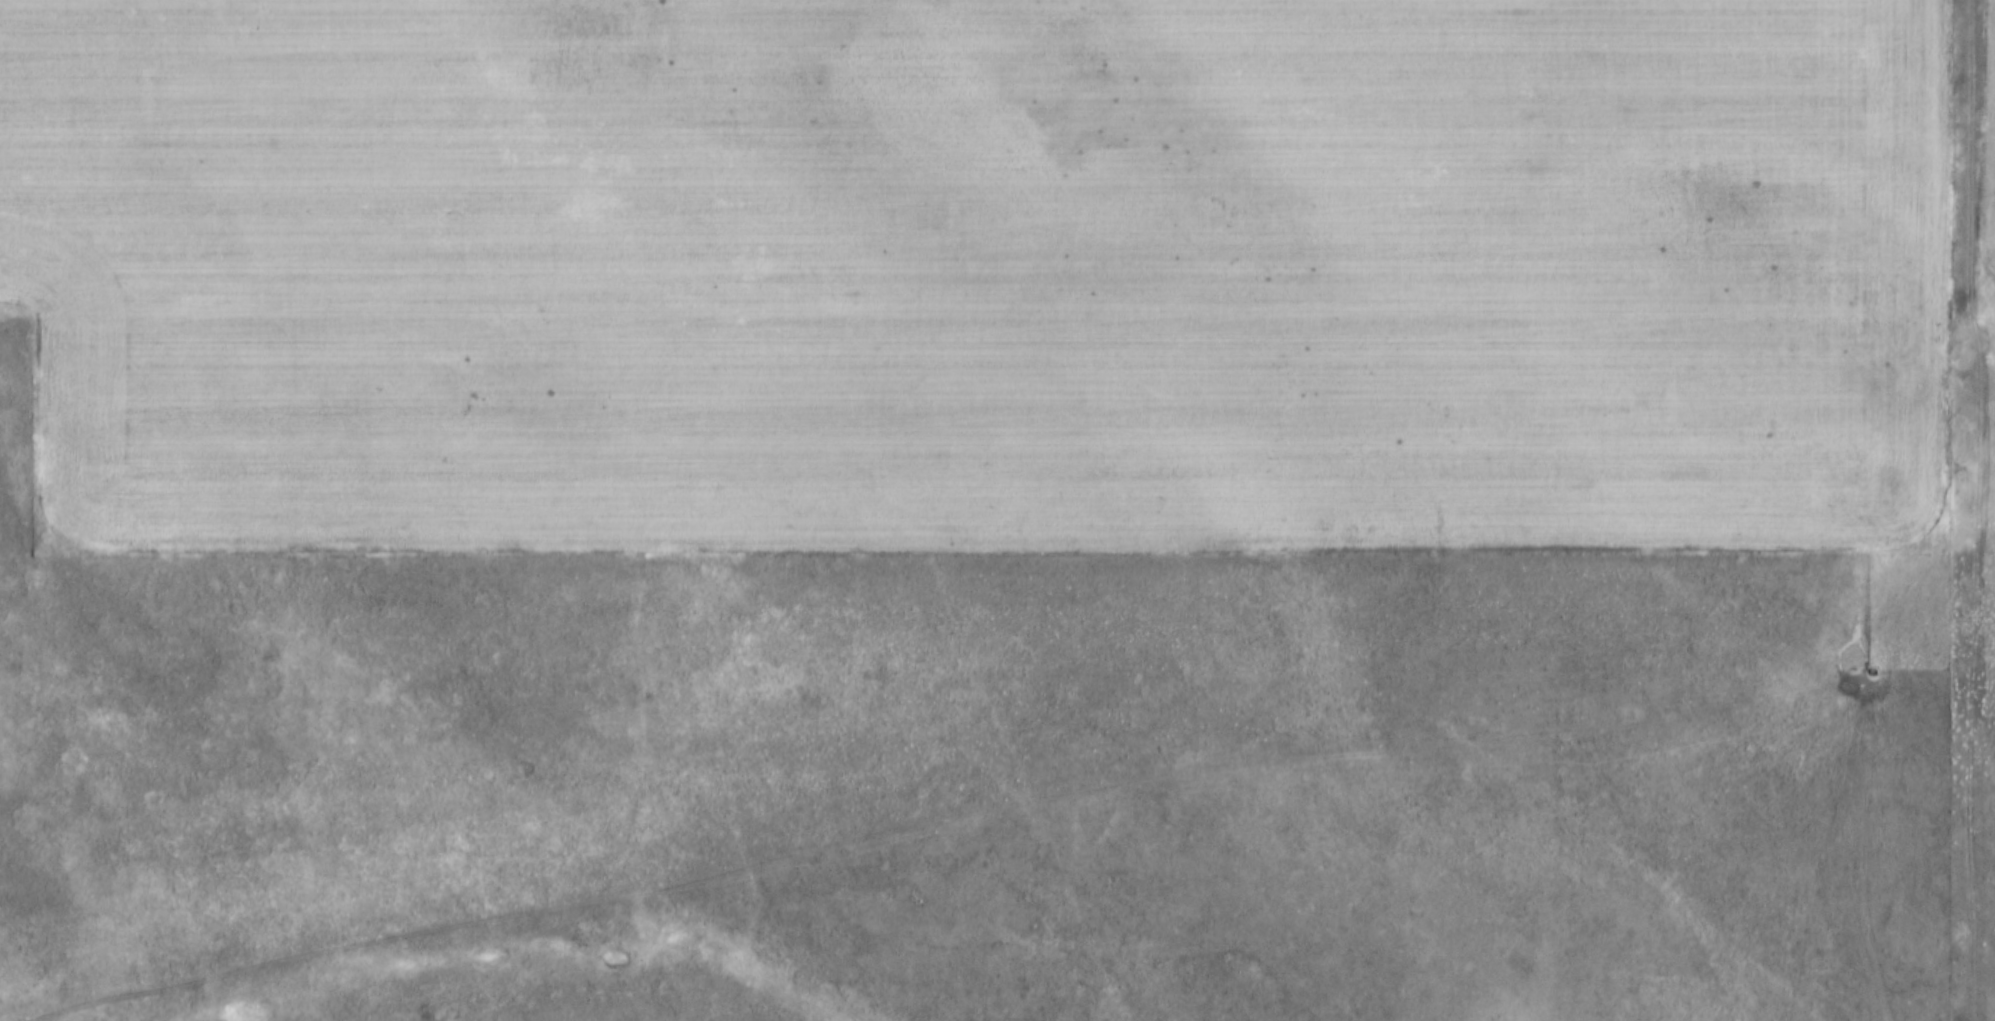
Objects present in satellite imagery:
road: (1974, 2)

